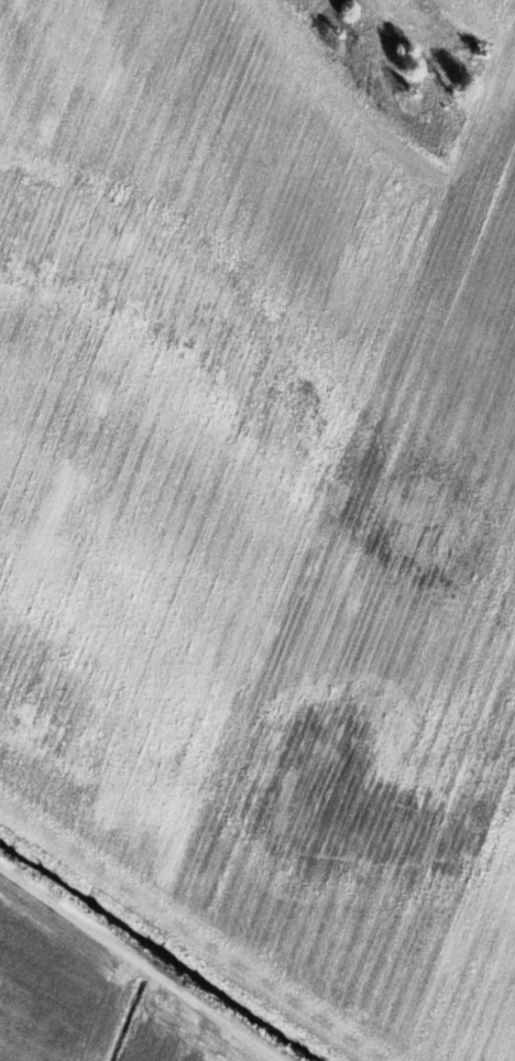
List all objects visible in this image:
road: (141, 964)

